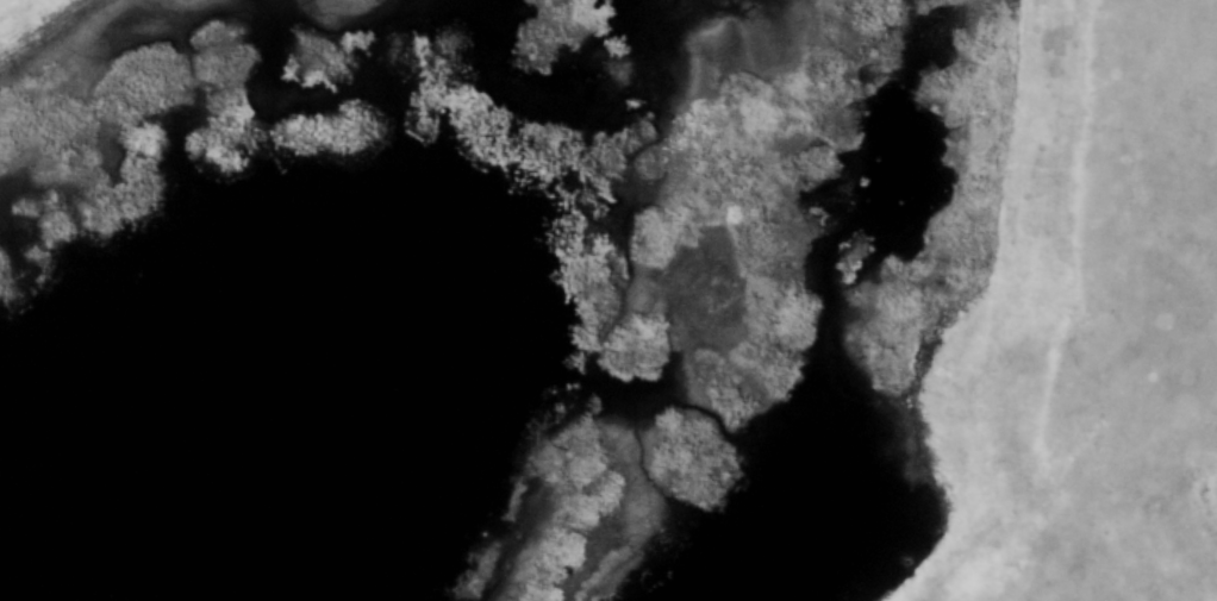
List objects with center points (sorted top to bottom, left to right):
airport runway: (5, 4)
airport runway: (1044, 300)

